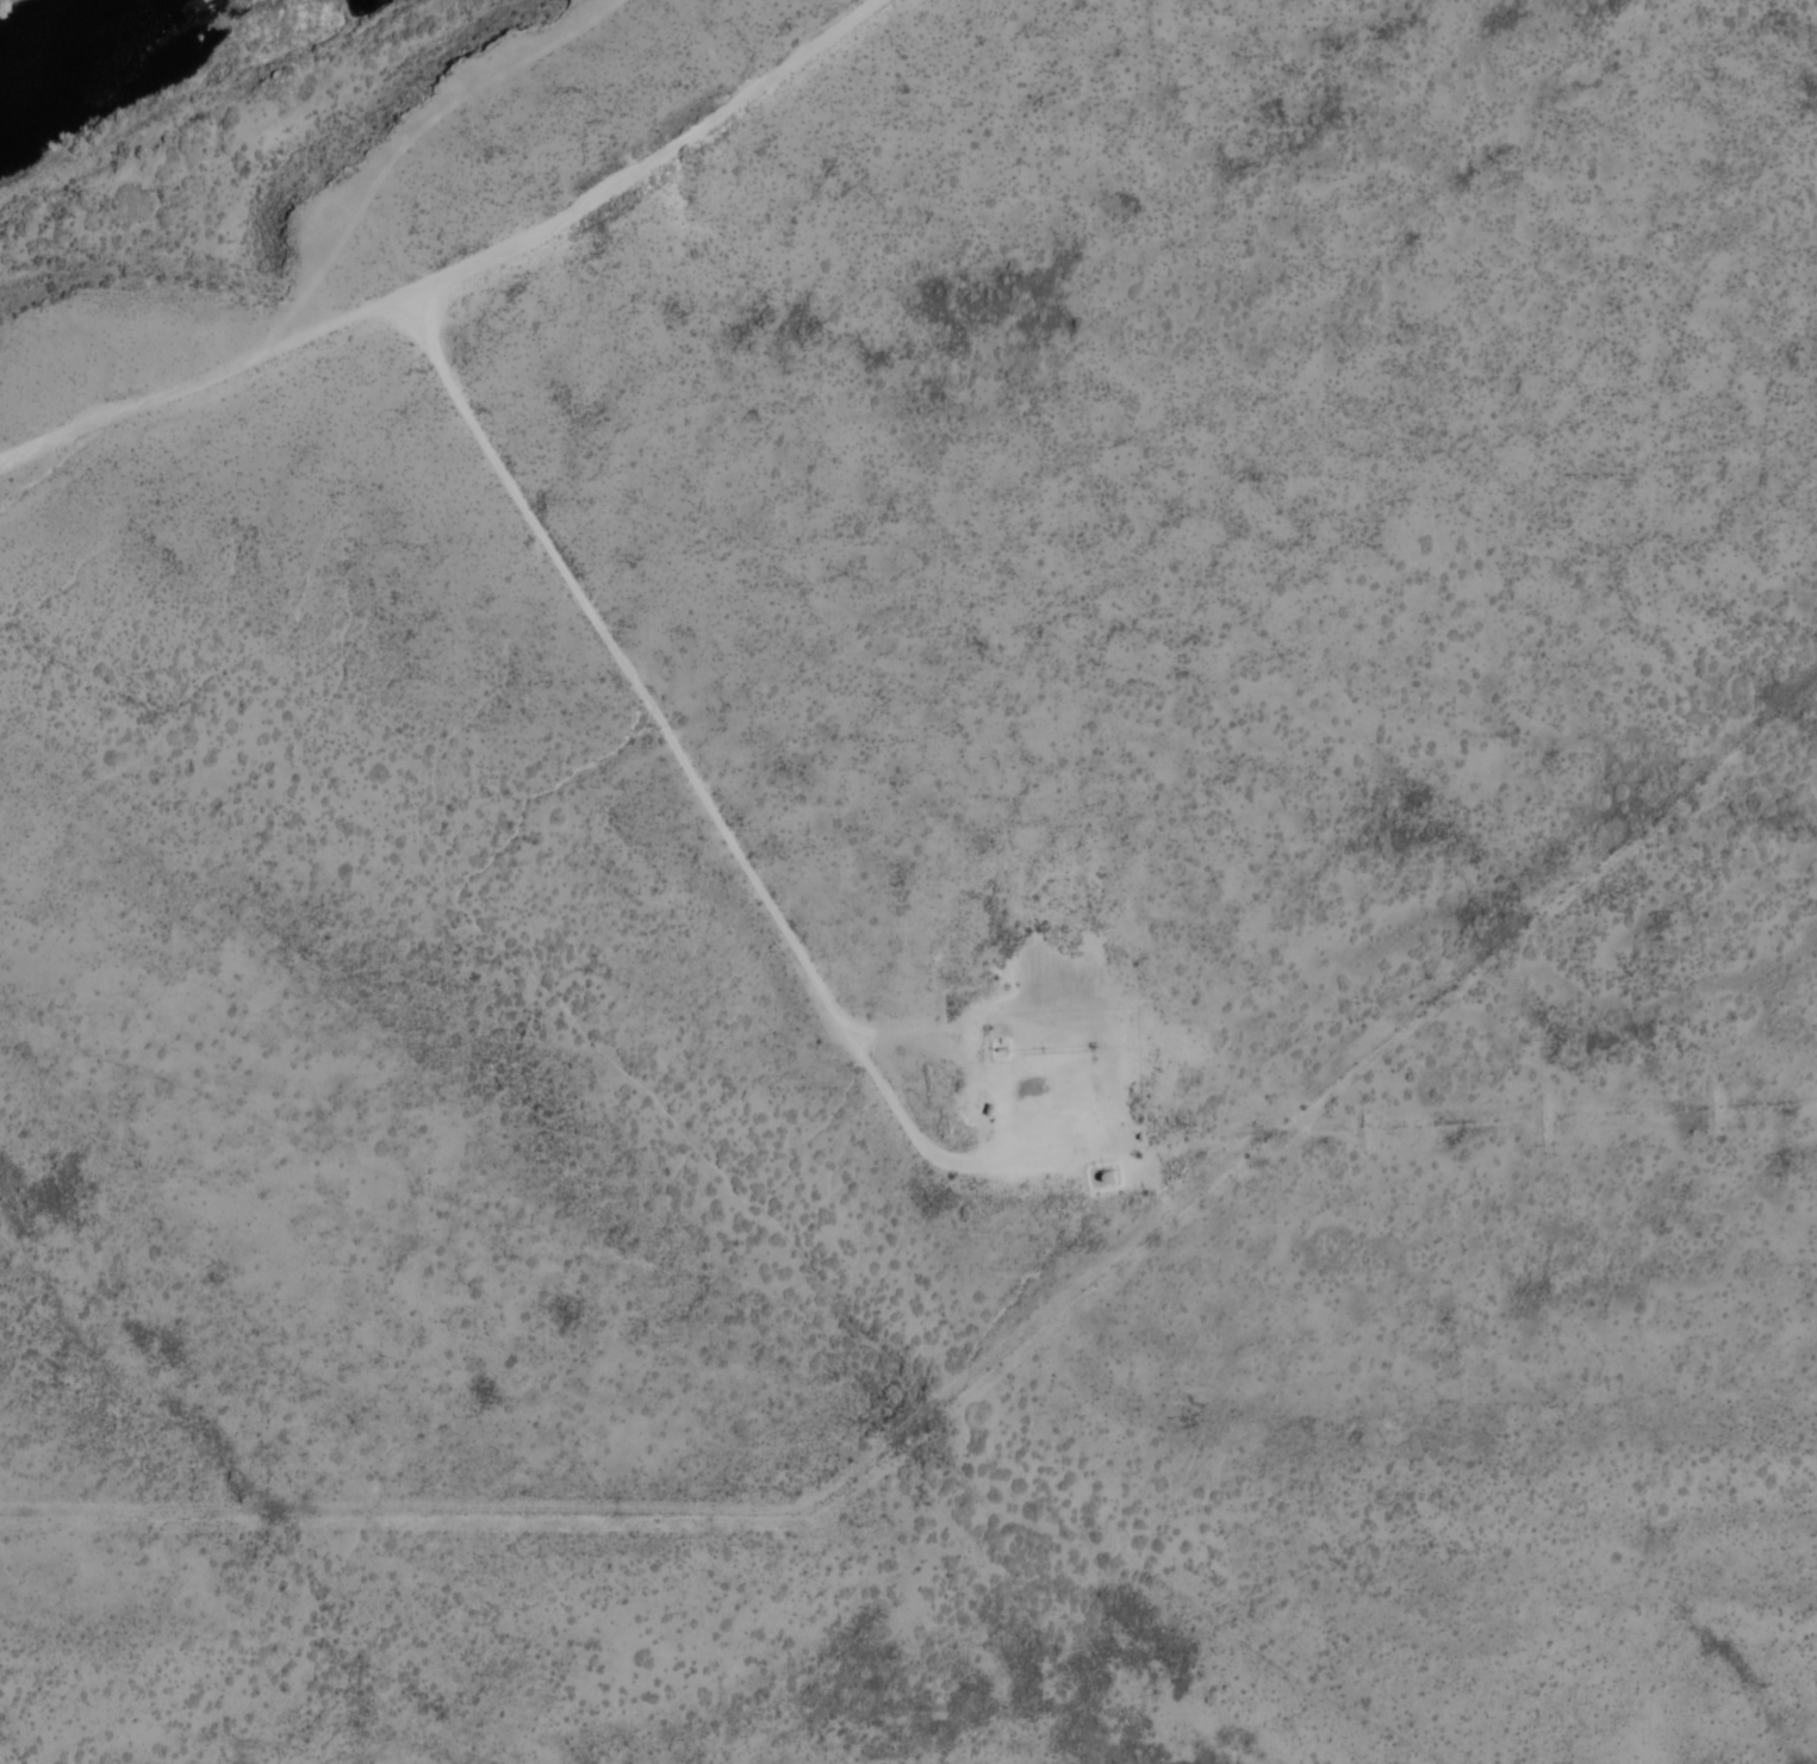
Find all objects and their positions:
river: (114, 45)
road: (448, 108)
road: (652, 164)
road: (326, 267)
road: (204, 384)
road: (704, 792)

